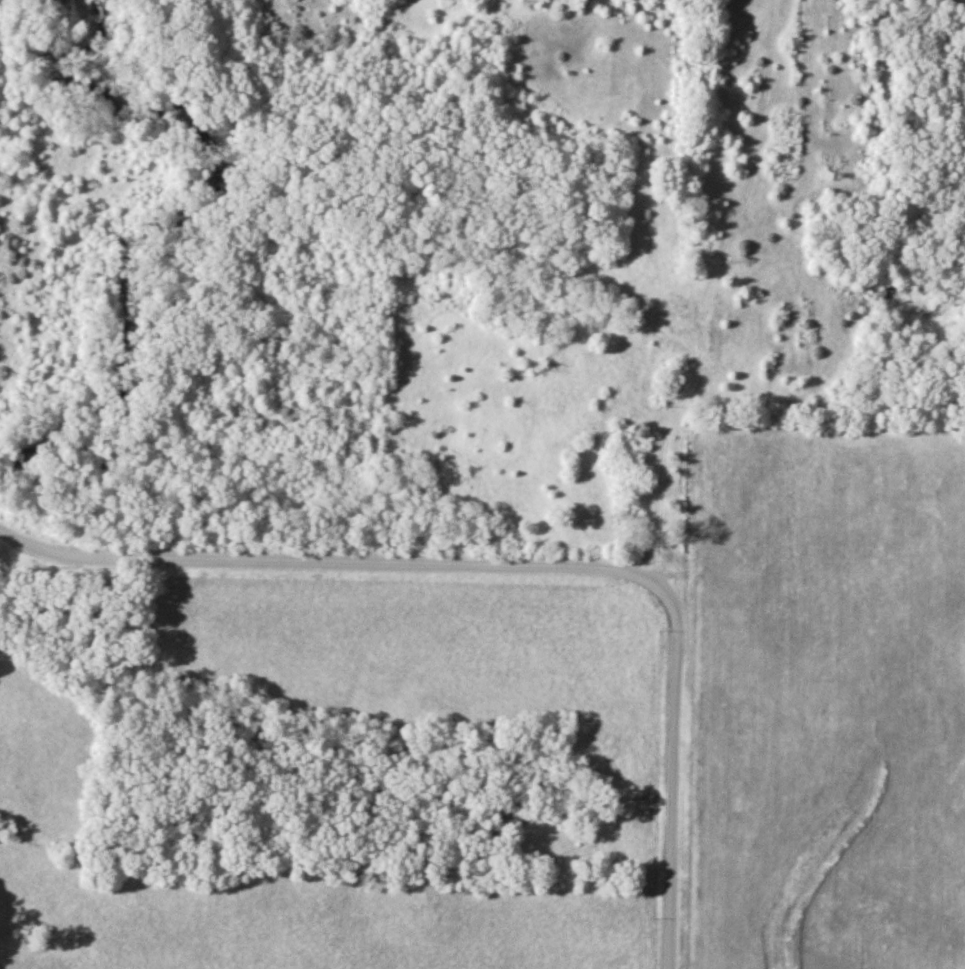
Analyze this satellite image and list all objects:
building: (557, 4)
river: (186, 236)
road: (522, 566)

